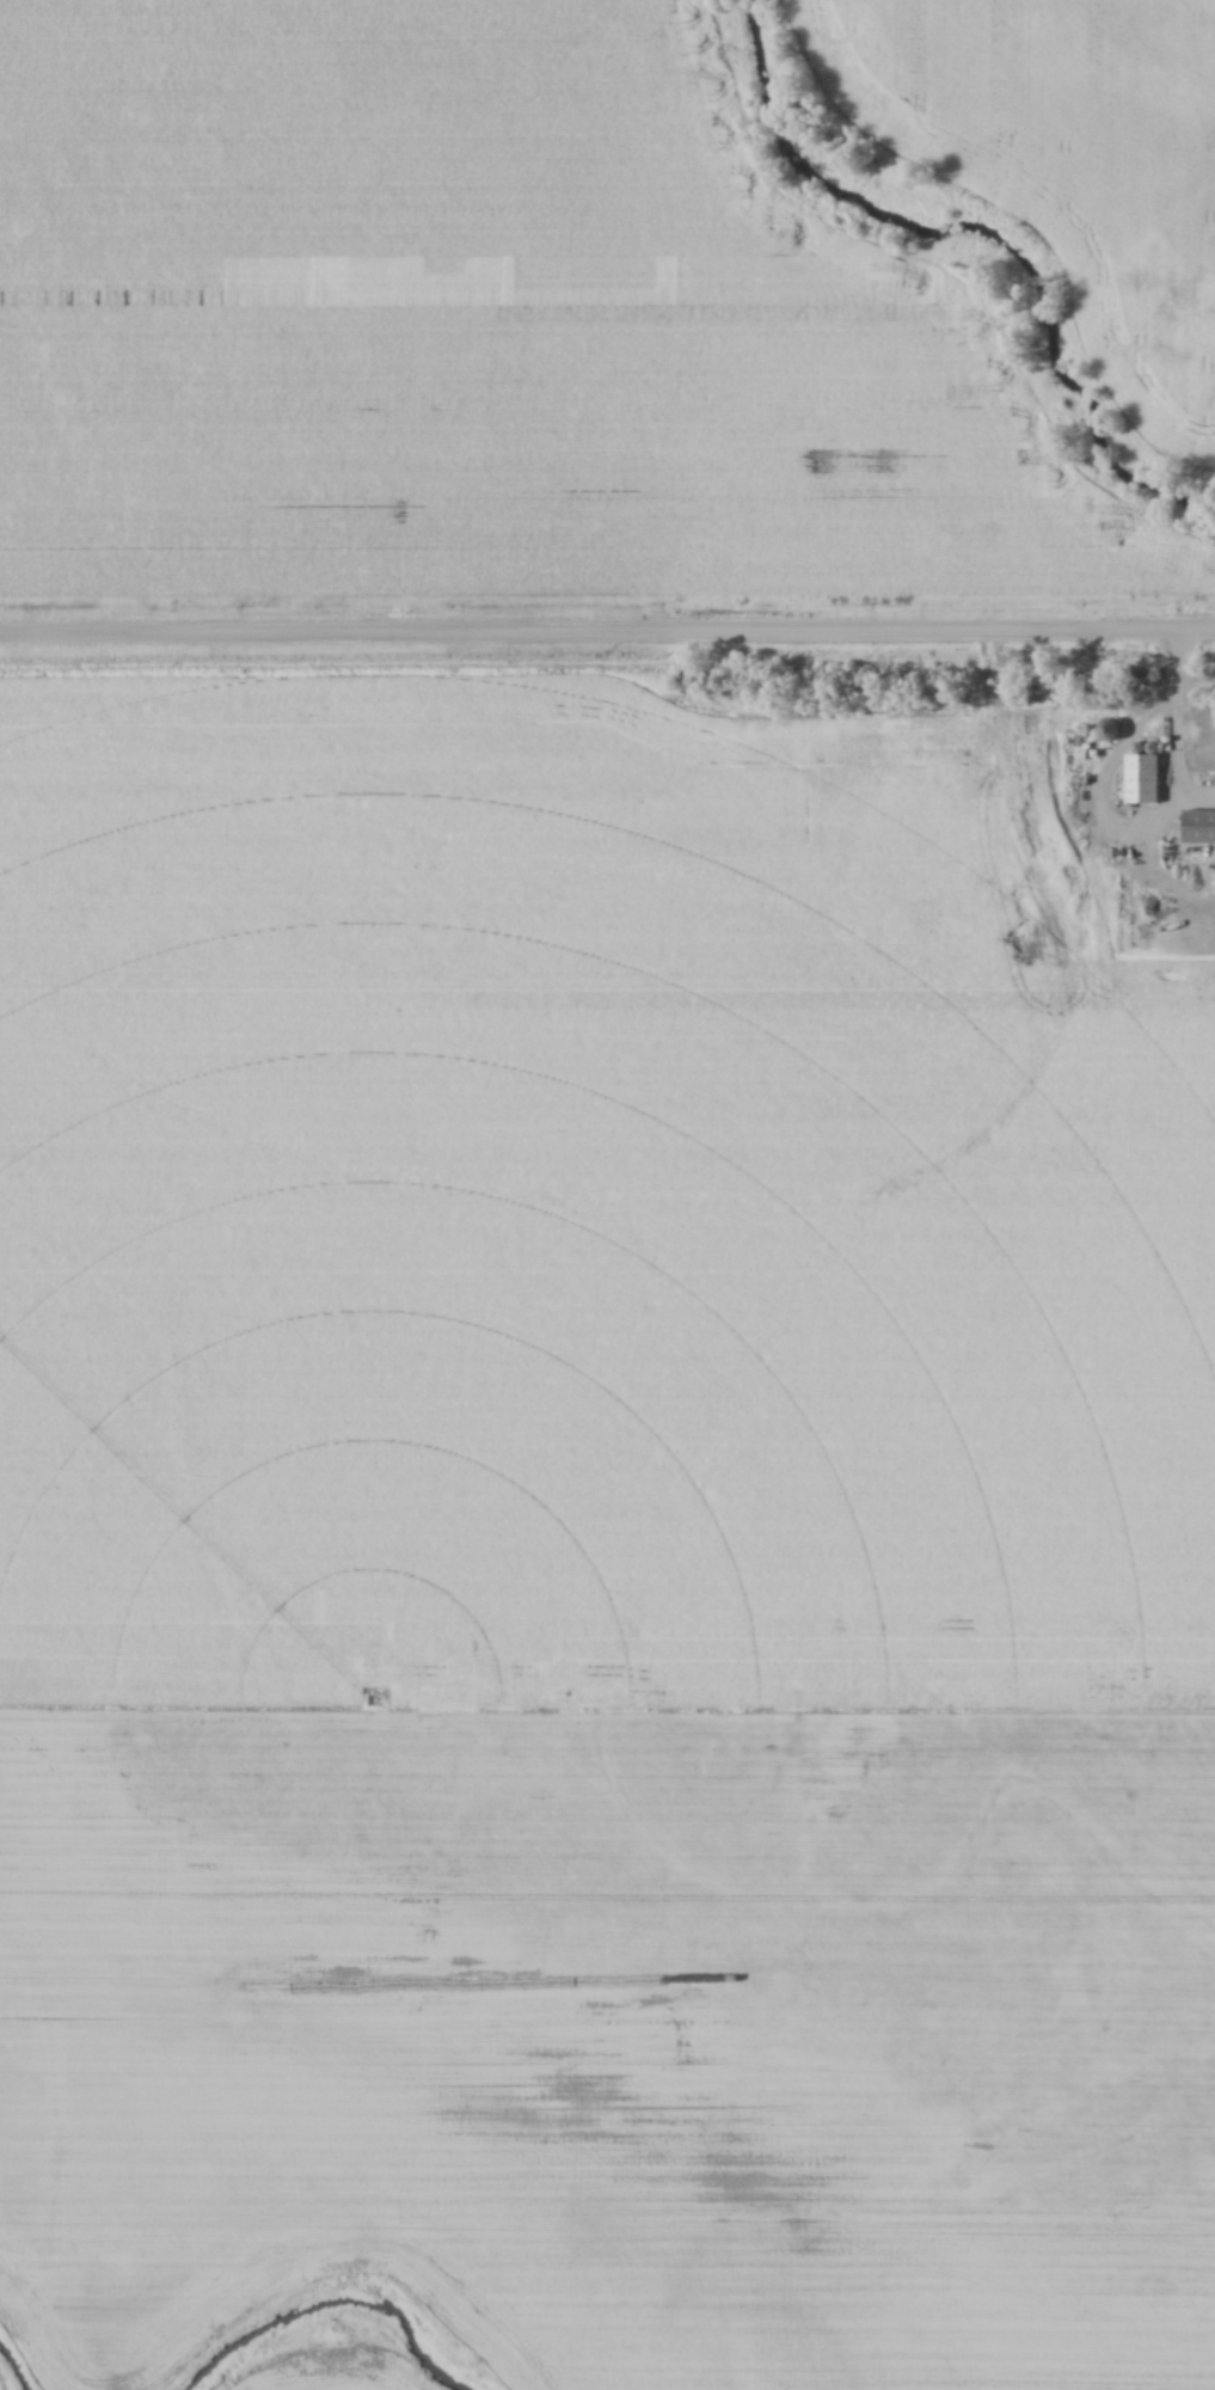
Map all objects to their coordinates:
crop: (1062, 158)
crop: (479, 323)
road: (607, 633)
silo: (1112, 728)
road: (1172, 729)
building: (1113, 730)
silo: (1139, 746)
silo: (1155, 746)
building: (1145, 778)
building: (1199, 825)
crop: (594, 1542)
crop: (330, 2385)

